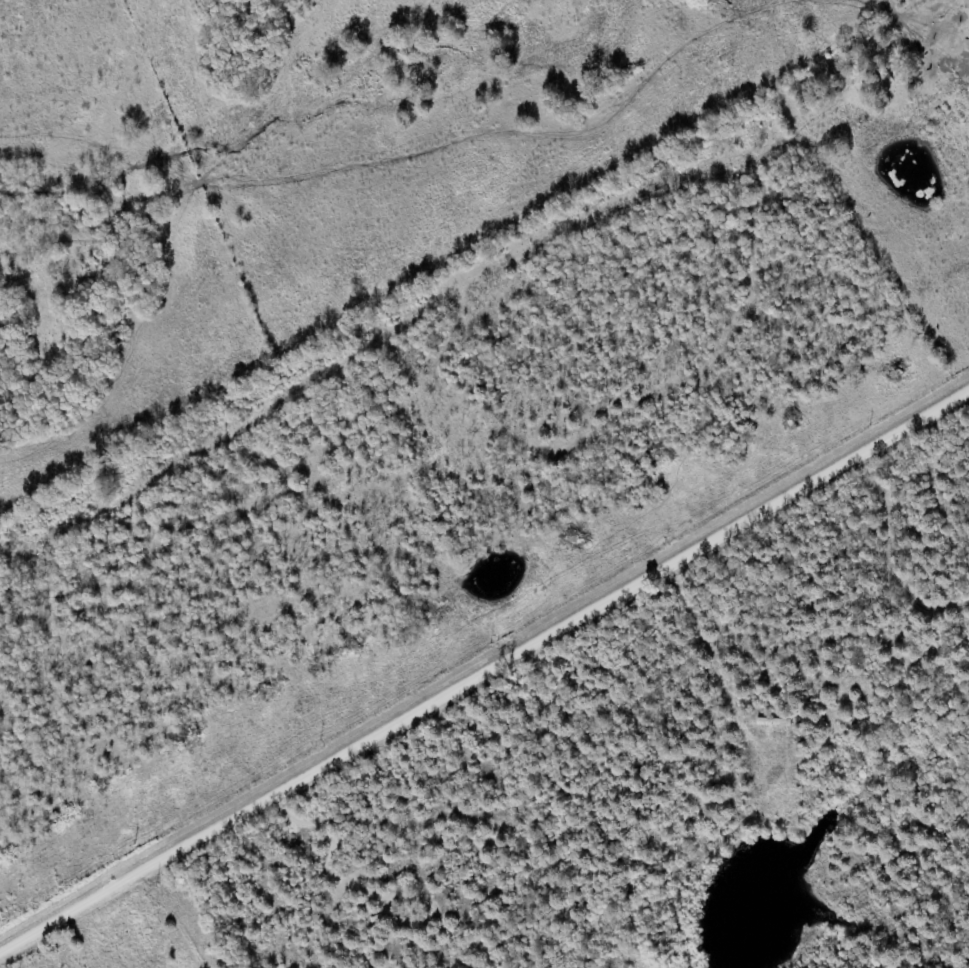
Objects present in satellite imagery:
road: (484, 676)

